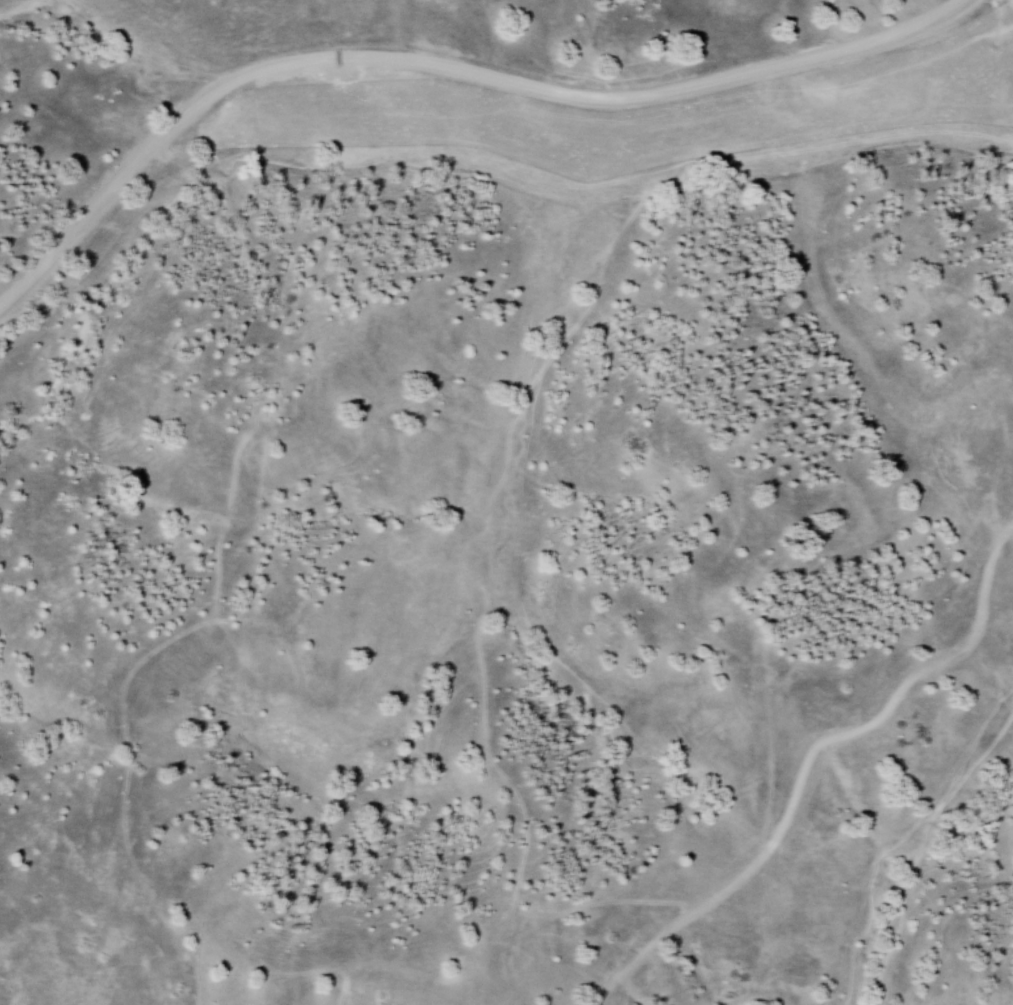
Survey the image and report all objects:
road: (443, 60)

